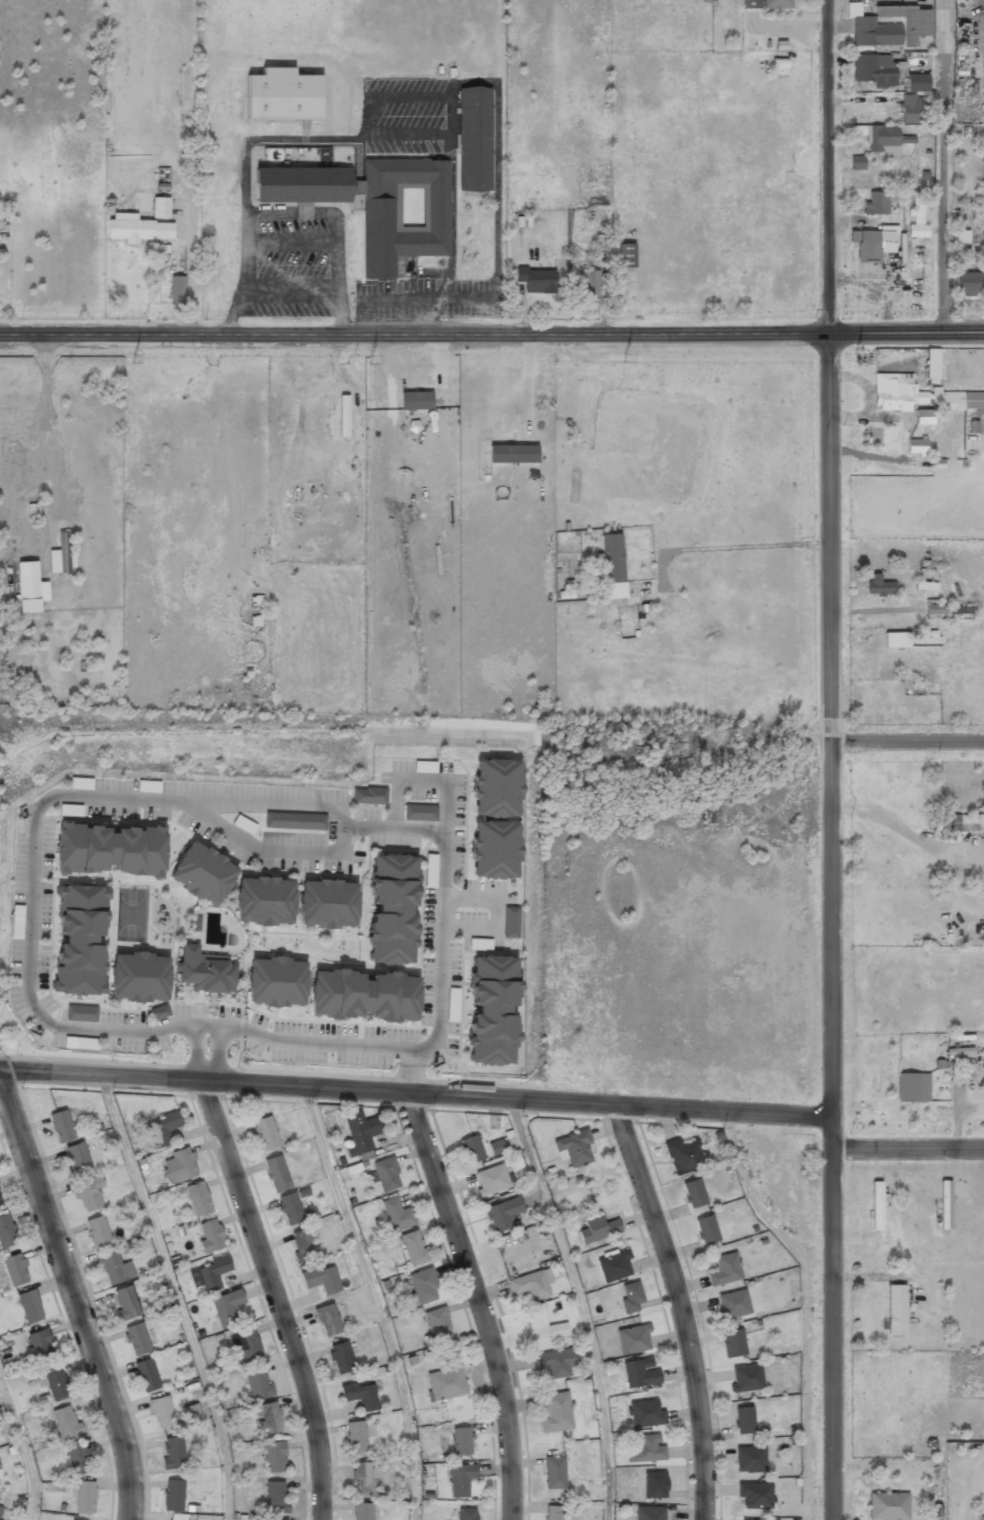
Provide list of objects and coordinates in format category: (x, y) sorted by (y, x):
building: (751, 3)
building: (777, 3)
building: (889, 26)
building: (778, 66)
building: (874, 70)
building: (916, 82)
building: (283, 95)
building: (914, 109)
building: (475, 140)
building: (882, 141)
building: (857, 162)
road: (944, 166)
building: (876, 203)
building: (376, 204)
building: (161, 207)
building: (303, 214)
building: (917, 216)
building: (137, 228)
building: (962, 236)
building: (871, 244)
building: (626, 255)
building: (538, 281)
building: (590, 285)
building: (968, 285)
building: (177, 288)
road: (492, 334)
power tower: (855, 356)
power tower: (624, 358)
power tower: (132, 359)
power tower: (370, 360)
building: (932, 365)
building: (920, 396)
building: (923, 419)
building: (340, 420)
building: (916, 448)
building: (60, 556)
road: (828, 559)
building: (613, 567)
building: (880, 586)
building: (28, 594)
building: (935, 609)
building: (256, 613)
building: (897, 640)
road: (906, 741)
building: (497, 788)
building: (369, 797)
road: (103, 798)
building: (420, 814)
building: (296, 822)
building: (968, 824)
building: (88, 850)
building: (495, 850)
building: (202, 875)
building: (265, 897)
building: (323, 905)
building: (392, 910)
building: (510, 922)
building: (80, 941)
building: (205, 973)
building: (140, 978)
building: (340, 996)
building: (493, 1011)
building: (159, 1012)
building: (81, 1013)
building: (82, 1044)
building: (913, 1088)
road: (415, 1094)
building: (62, 1127)
building: (163, 1130)
building: (265, 1134)
building: (362, 1134)
road: (832, 1134)
building: (496, 1147)
building: (574, 1149)
road: (908, 1149)
building: (472, 1150)
building: (685, 1156)
building: (78, 1158)
building: (179, 1167)
building: (352, 1171)
building: (277, 1175)
building: (387, 1176)
building: (492, 1181)
building: (89, 1194)
building: (695, 1194)
building: (198, 1199)
building: (1, 1203)
building: (945, 1204)
building: (876, 1205)
building: (291, 1210)
building: (397, 1215)
building: (503, 1215)
building: (598, 1230)
building: (707, 1231)
building: (6, 1233)
building: (98, 1233)
building: (211, 1236)
building: (304, 1245)
building: (414, 1249)
building: (614, 1267)
building: (15, 1270)
building: (115, 1270)
building: (725, 1271)
building: (211, 1274)
building: (323, 1280)
building: (531, 1286)
building: (424, 1287)
road: (176, 1295)
road: (74, 1296)
road: (275, 1298)
building: (632, 1298)
road: (376, 1300)
building: (126, 1303)
road: (479, 1303)
road: (806, 1304)
road: (582, 1305)
building: (734, 1305)
building: (30, 1307)
building: (227, 1307)
road: (680, 1308)
building: (891, 1312)
building: (328, 1321)
building: (439, 1326)
building: (558, 1331)
road: (833, 1335)
building: (137, 1340)
building: (634, 1340)
building: (41, 1344)
building: (733, 1344)
building: (246, 1345)
building: (342, 1357)
building: (555, 1363)
building: (641, 1374)
building: (147, 1375)
building: (747, 1379)
building: (56, 1383)
building: (259, 1385)
building: (446, 1385)
building: (362, 1395)
building: (162, 1412)
building: (191, 1412)
building: (555, 1412)
building: (646, 1414)
building: (270, 1419)
building: (744, 1421)
building: (66, 1422)
building: (357, 1438)
building: (462, 1442)
road: (23, 1448)
building: (648, 1450)
building: (174, 1452)
building: (78, 1458)
building: (275, 1458)
building: (751, 1461)
building: (554, 1473)
building: (364, 1479)
building: (461, 1481)
building: (656, 1486)
building: (756, 1495)
building: (174, 1496)
building: (85, 1497)
building: (277, 1497)
building: (0, 1505)
building: (888, 1507)
building: (363, 1512)
building: (554, 1513)
building: (651, 1513)
building: (467, 1515)
building: (980, 1517)
building: (176, 1518)
building: (267, 1519)
building: (747, 1519)

